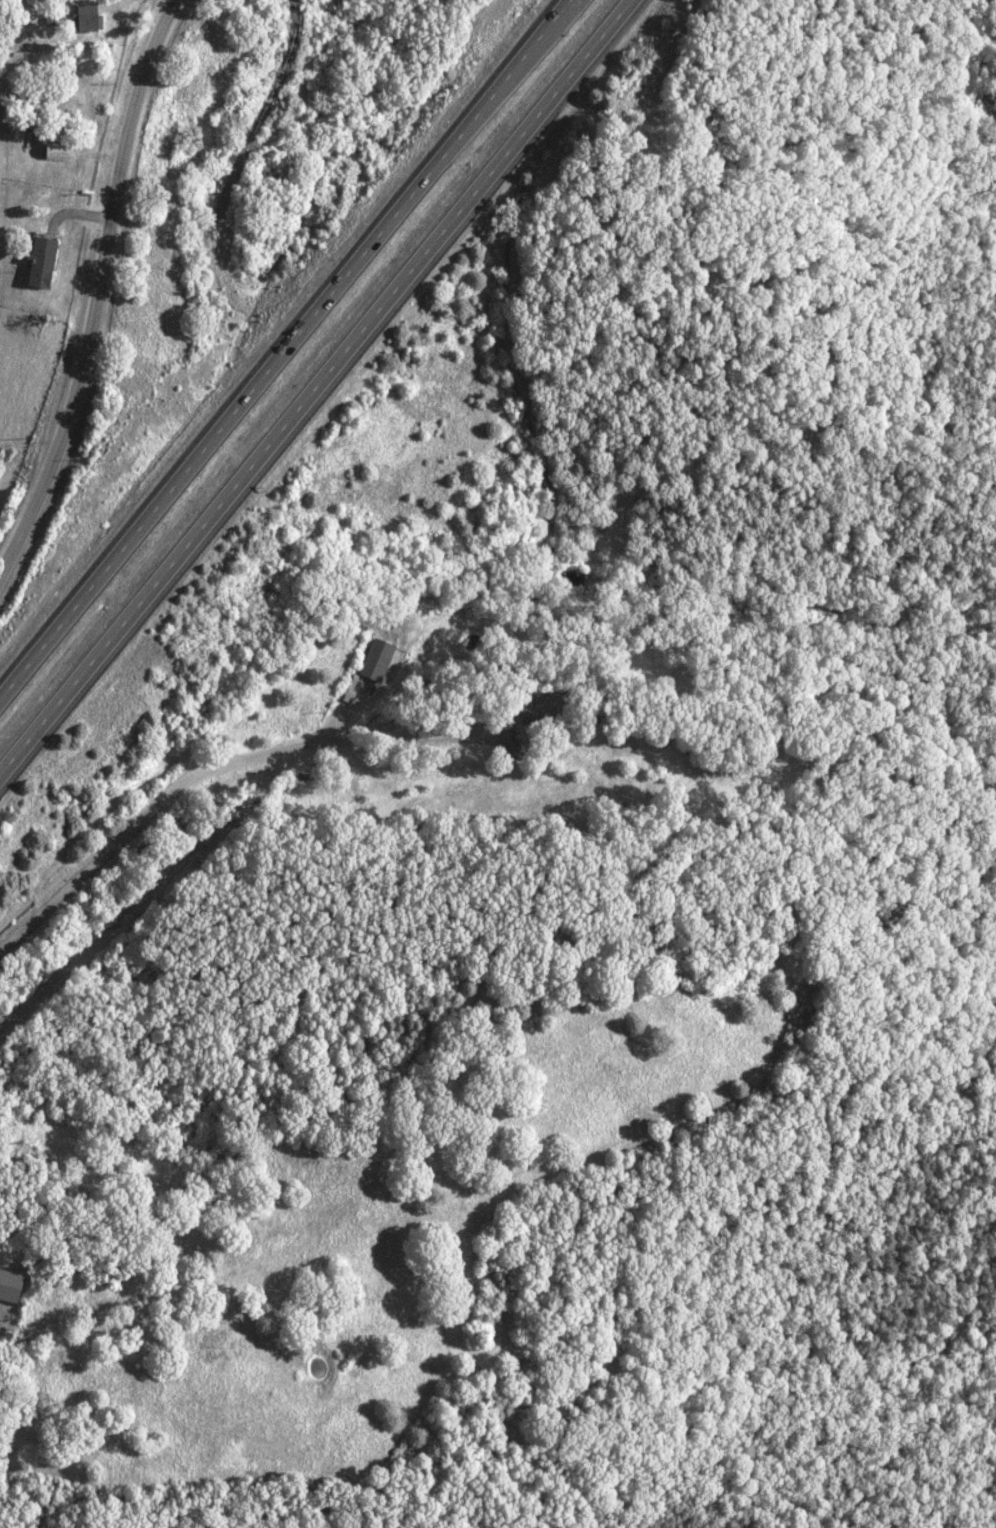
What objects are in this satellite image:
building: (84, 17)
building: (18, 62)
building: (37, 262)
road: (104, 292)
road: (285, 350)
road: (313, 384)
building: (375, 660)
road: (426, 739)
road: (155, 810)
road: (299, 992)
building: (7, 1285)

